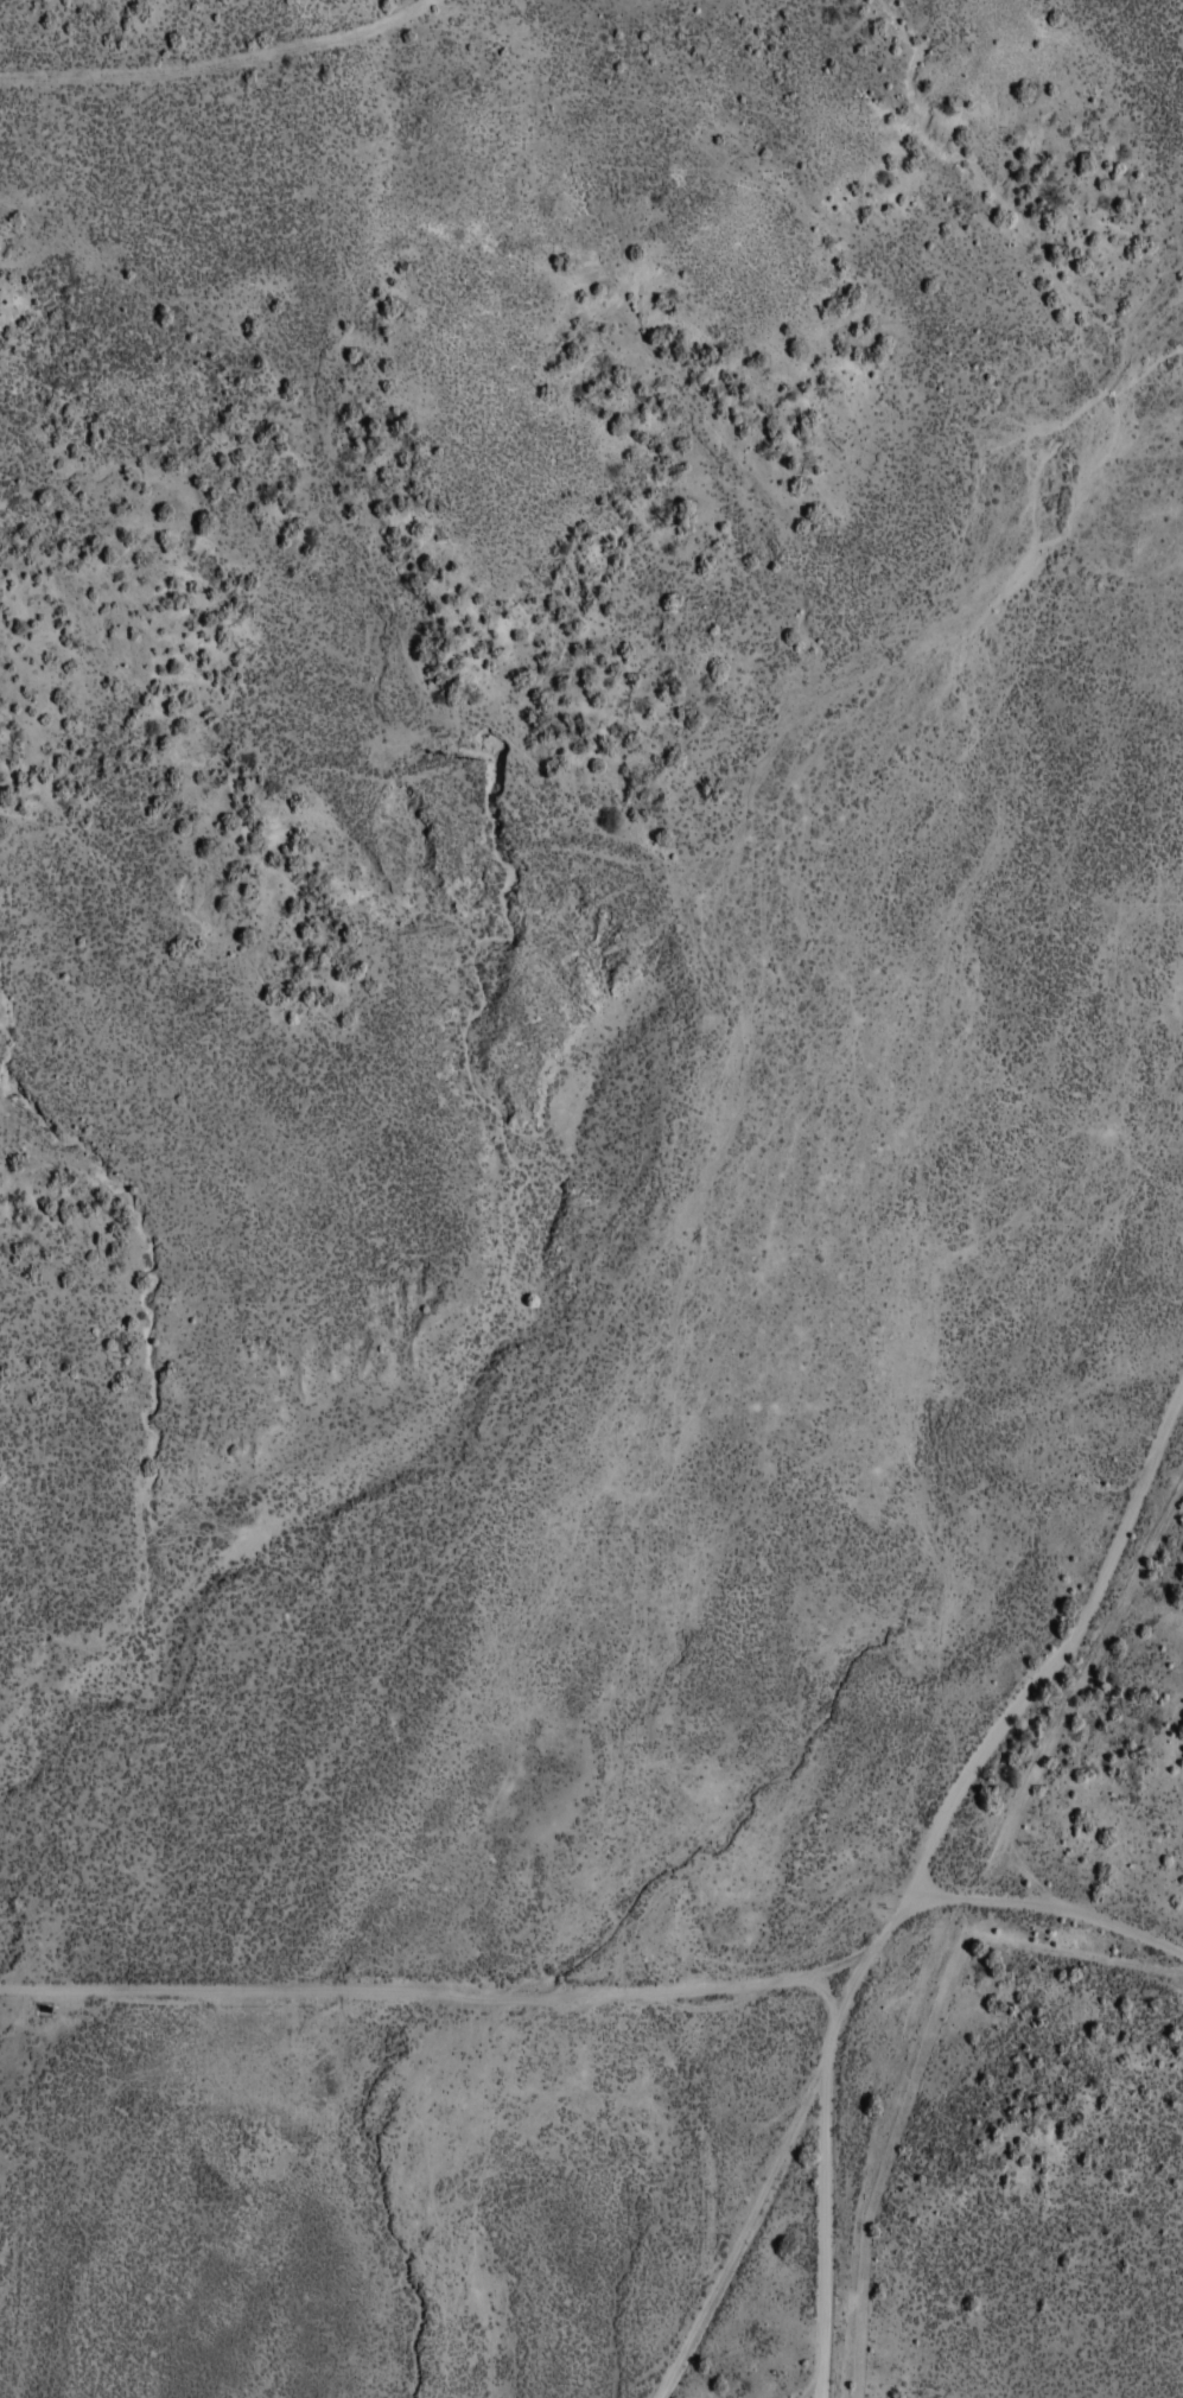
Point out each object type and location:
road: (1068, 1897)
road: (791, 2052)
road: (28, 2222)
road: (861, 2224)
road: (769, 2225)

